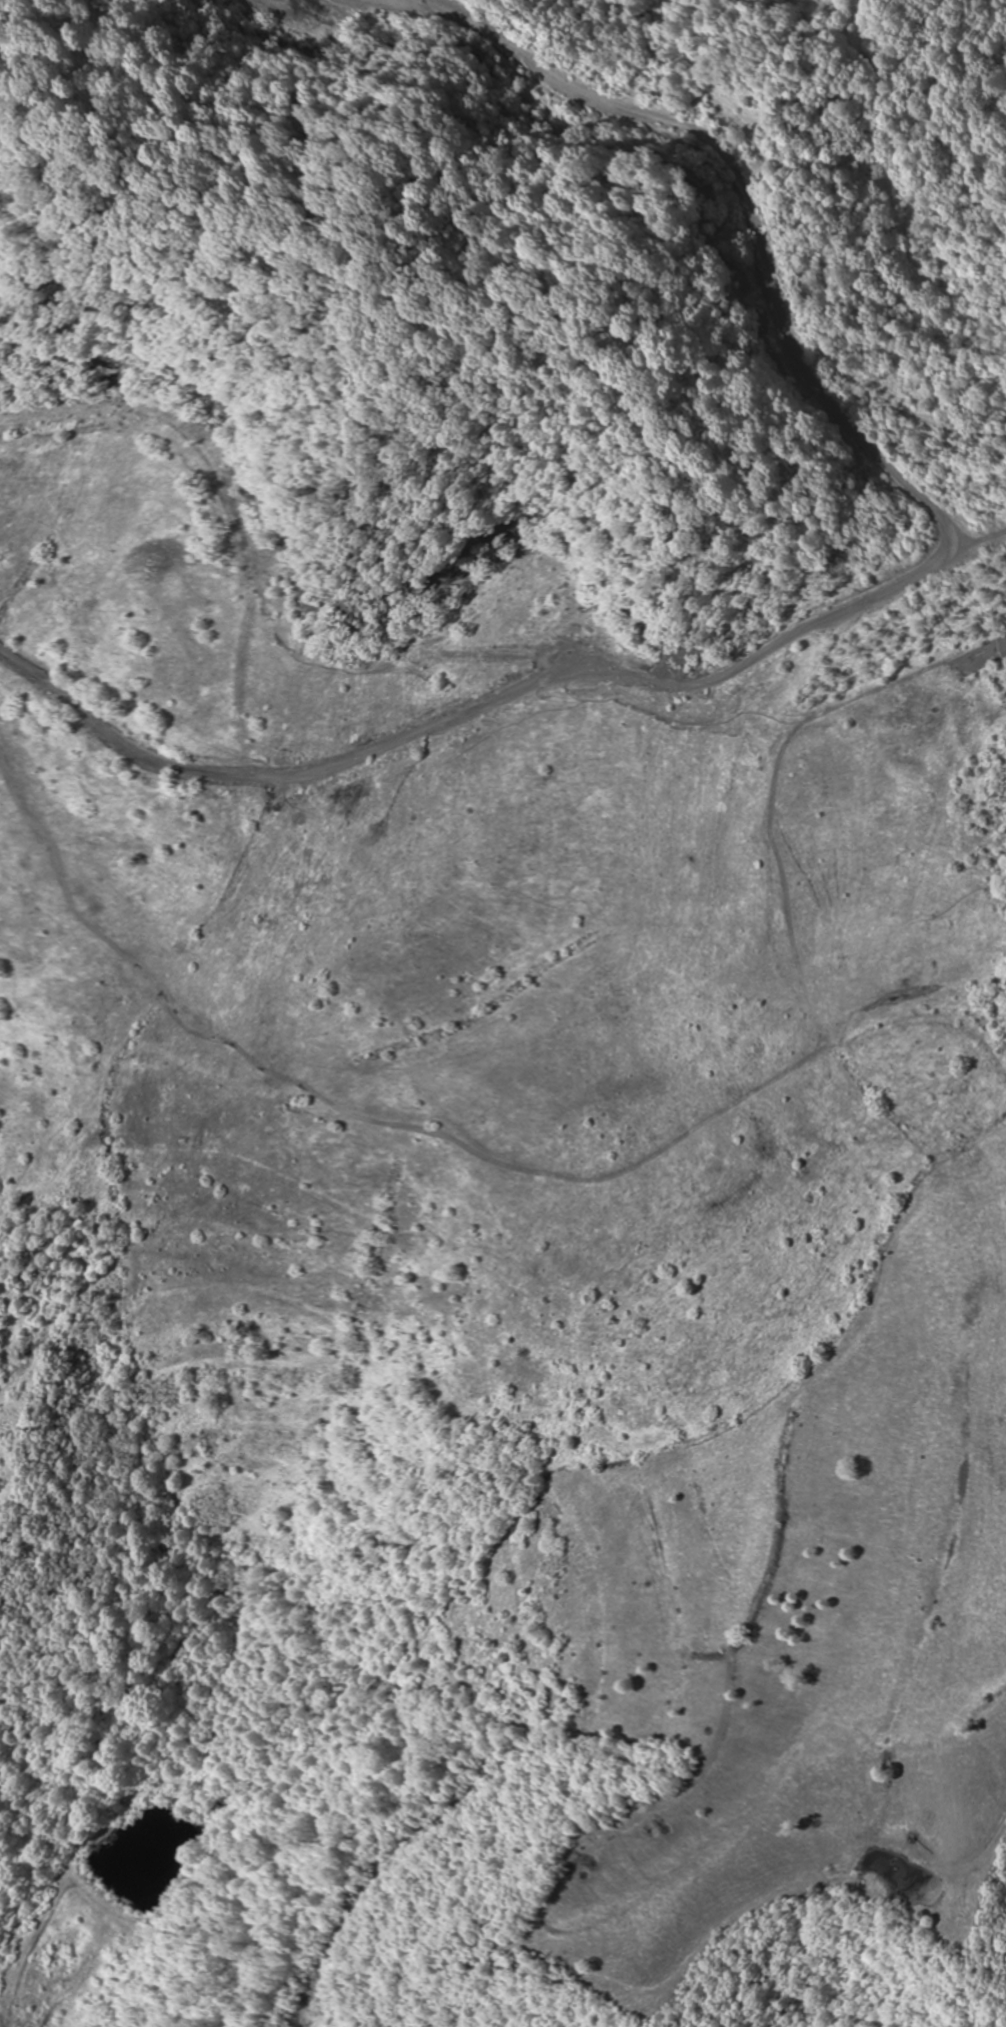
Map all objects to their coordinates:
road: (520, 684)

